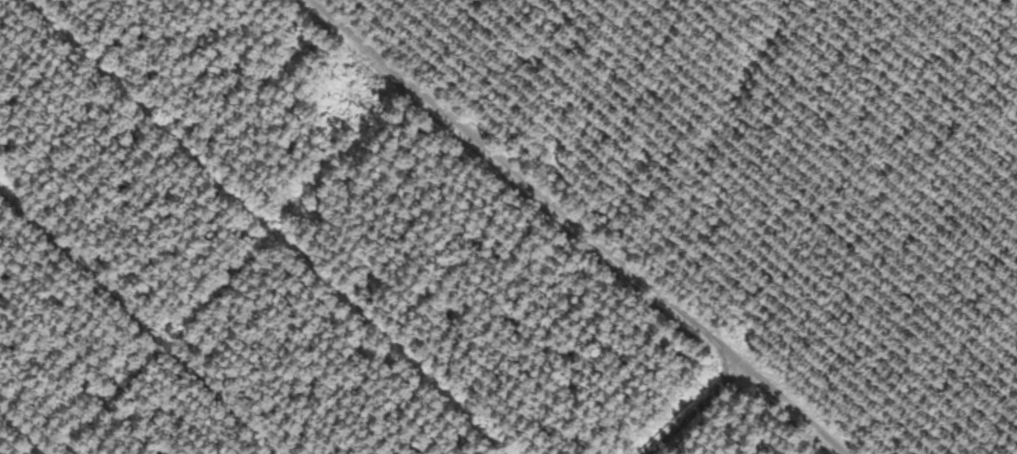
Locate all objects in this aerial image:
road: (628, 221)
road: (685, 389)

